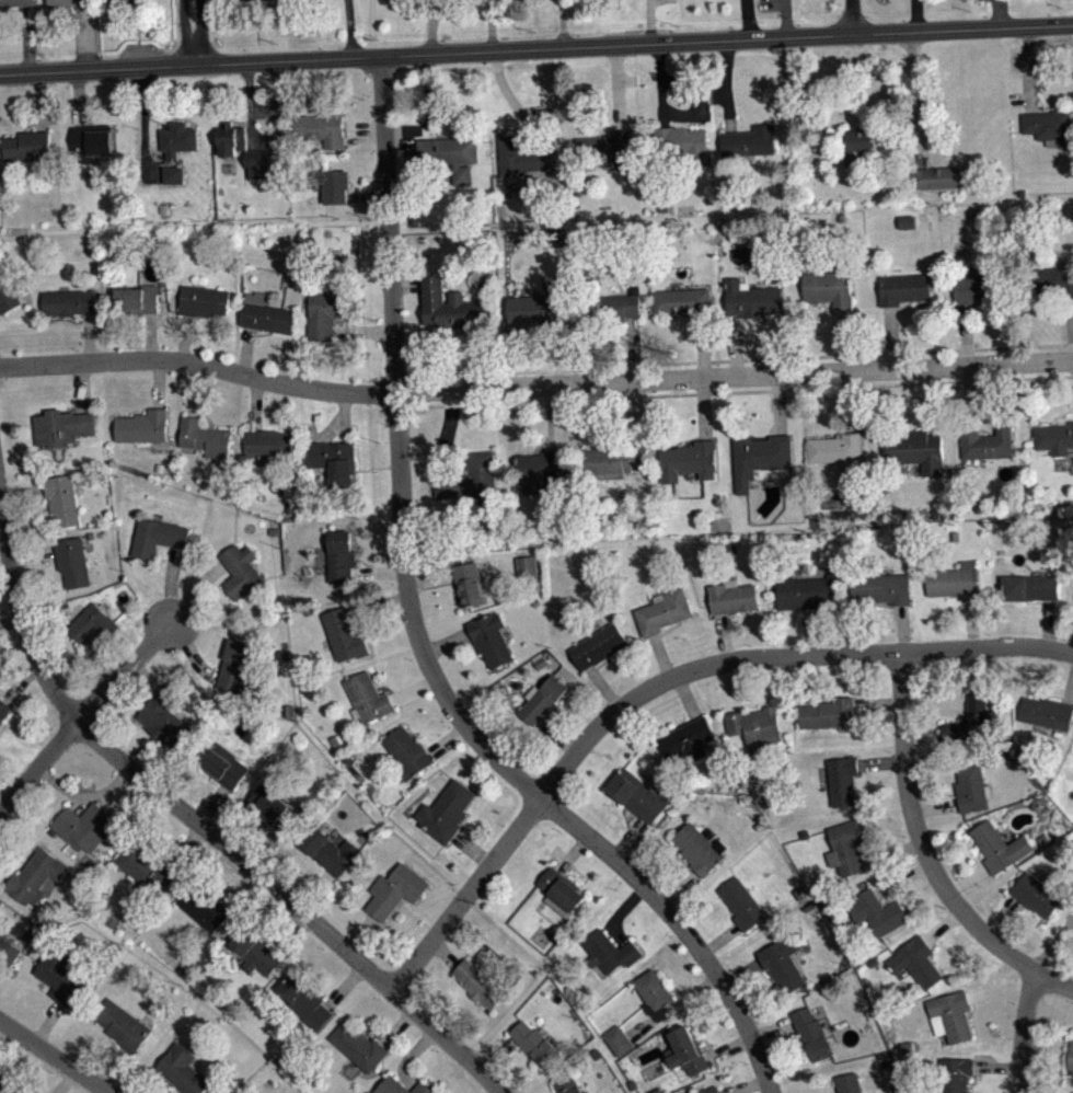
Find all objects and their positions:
building: (14, 2)
building: (120, 2)
building: (74, 3)
building: (255, 3)
road: (852, 16)
road: (193, 32)
road: (536, 49)
building: (1049, 126)
building: (320, 128)
building: (177, 139)
building: (749, 141)
building: (91, 142)
building: (858, 143)
building: (682, 145)
building: (27, 146)
building: (604, 147)
building: (249, 152)
building: (518, 154)
building: (445, 160)
building: (173, 174)
building: (939, 177)
building: (333, 184)
building: (908, 228)
building: (1053, 278)
building: (977, 286)
building: (829, 288)
building: (902, 288)
building: (7, 294)
building: (137, 299)
building: (753, 299)
building: (203, 300)
building: (68, 301)
building: (682, 301)
building: (452, 307)
building: (610, 308)
building: (536, 309)
building: (325, 310)
building: (266, 314)
road: (740, 358)
road: (534, 386)
road: (774, 390)
road: (441, 404)
building: (61, 426)
building: (142, 426)
building: (204, 437)
building: (1053, 437)
building: (987, 444)
building: (837, 447)
building: (268, 448)
building: (915, 449)
building: (761, 458)
building: (616, 459)
building: (333, 460)
building: (689, 460)
building: (535, 471)
building: (471, 482)
building: (62, 499)
building: (157, 537)
building: (339, 555)
building: (72, 561)
building: (526, 565)
building: (240, 571)
building: (955, 580)
building: (468, 584)
building: (1030, 587)
building: (881, 588)
building: (806, 590)
building: (732, 597)
building: (661, 610)
building: (91, 623)
building: (344, 634)
road: (417, 638)
building: (489, 638)
building: (598, 645)
building: (540, 661)
building: (233, 663)
road: (668, 690)
building: (367, 697)
building: (542, 698)
building: (3, 709)
building: (1047, 712)
building: (828, 713)
building: (163, 716)
building: (974, 716)
road: (77, 717)
building: (755, 727)
building: (688, 738)
building: (0, 741)
building: (406, 751)
building: (224, 766)
building: (844, 779)
building: (972, 786)
building: (636, 795)
building: (273, 806)
building: (446, 810)
building: (83, 826)
road: (201, 829)
building: (849, 844)
building: (999, 845)
building: (700, 848)
road: (928, 848)
building: (328, 850)
building: (145, 872)
building: (35, 876)
building: (395, 889)
building: (559, 890)
building: (1036, 894)
building: (742, 904)
building: (203, 907)
building: (878, 911)
building: (9, 950)
building: (609, 951)
building: (255, 952)
building: (782, 962)
building: (916, 962)
building: (60, 976)
building: (478, 983)
building: (655, 993)
building: (304, 1001)
building: (950, 1015)
building: (122, 1024)
road: (1022, 1031)
building: (811, 1033)
building: (618, 1039)
building: (535, 1043)
building: (358, 1046)
building: (687, 1051)
building: (1071, 1055)
road: (55, 1057)
building: (183, 1070)
building: (955, 1073)
building: (849, 1082)
building: (568, 1085)
building: (9, 1086)
building: (400, 1086)
building: (708, 1090)

